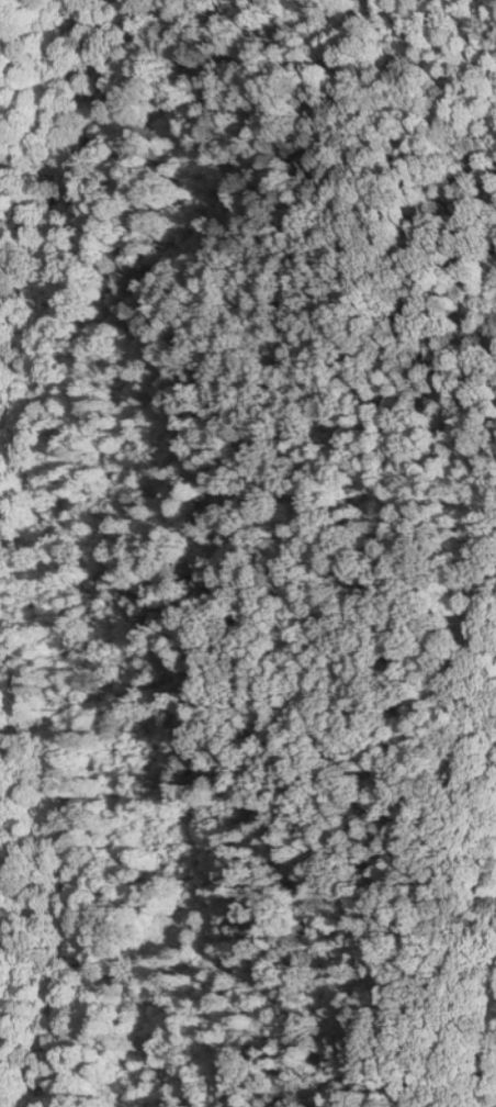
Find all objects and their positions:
road: (448, 976)

